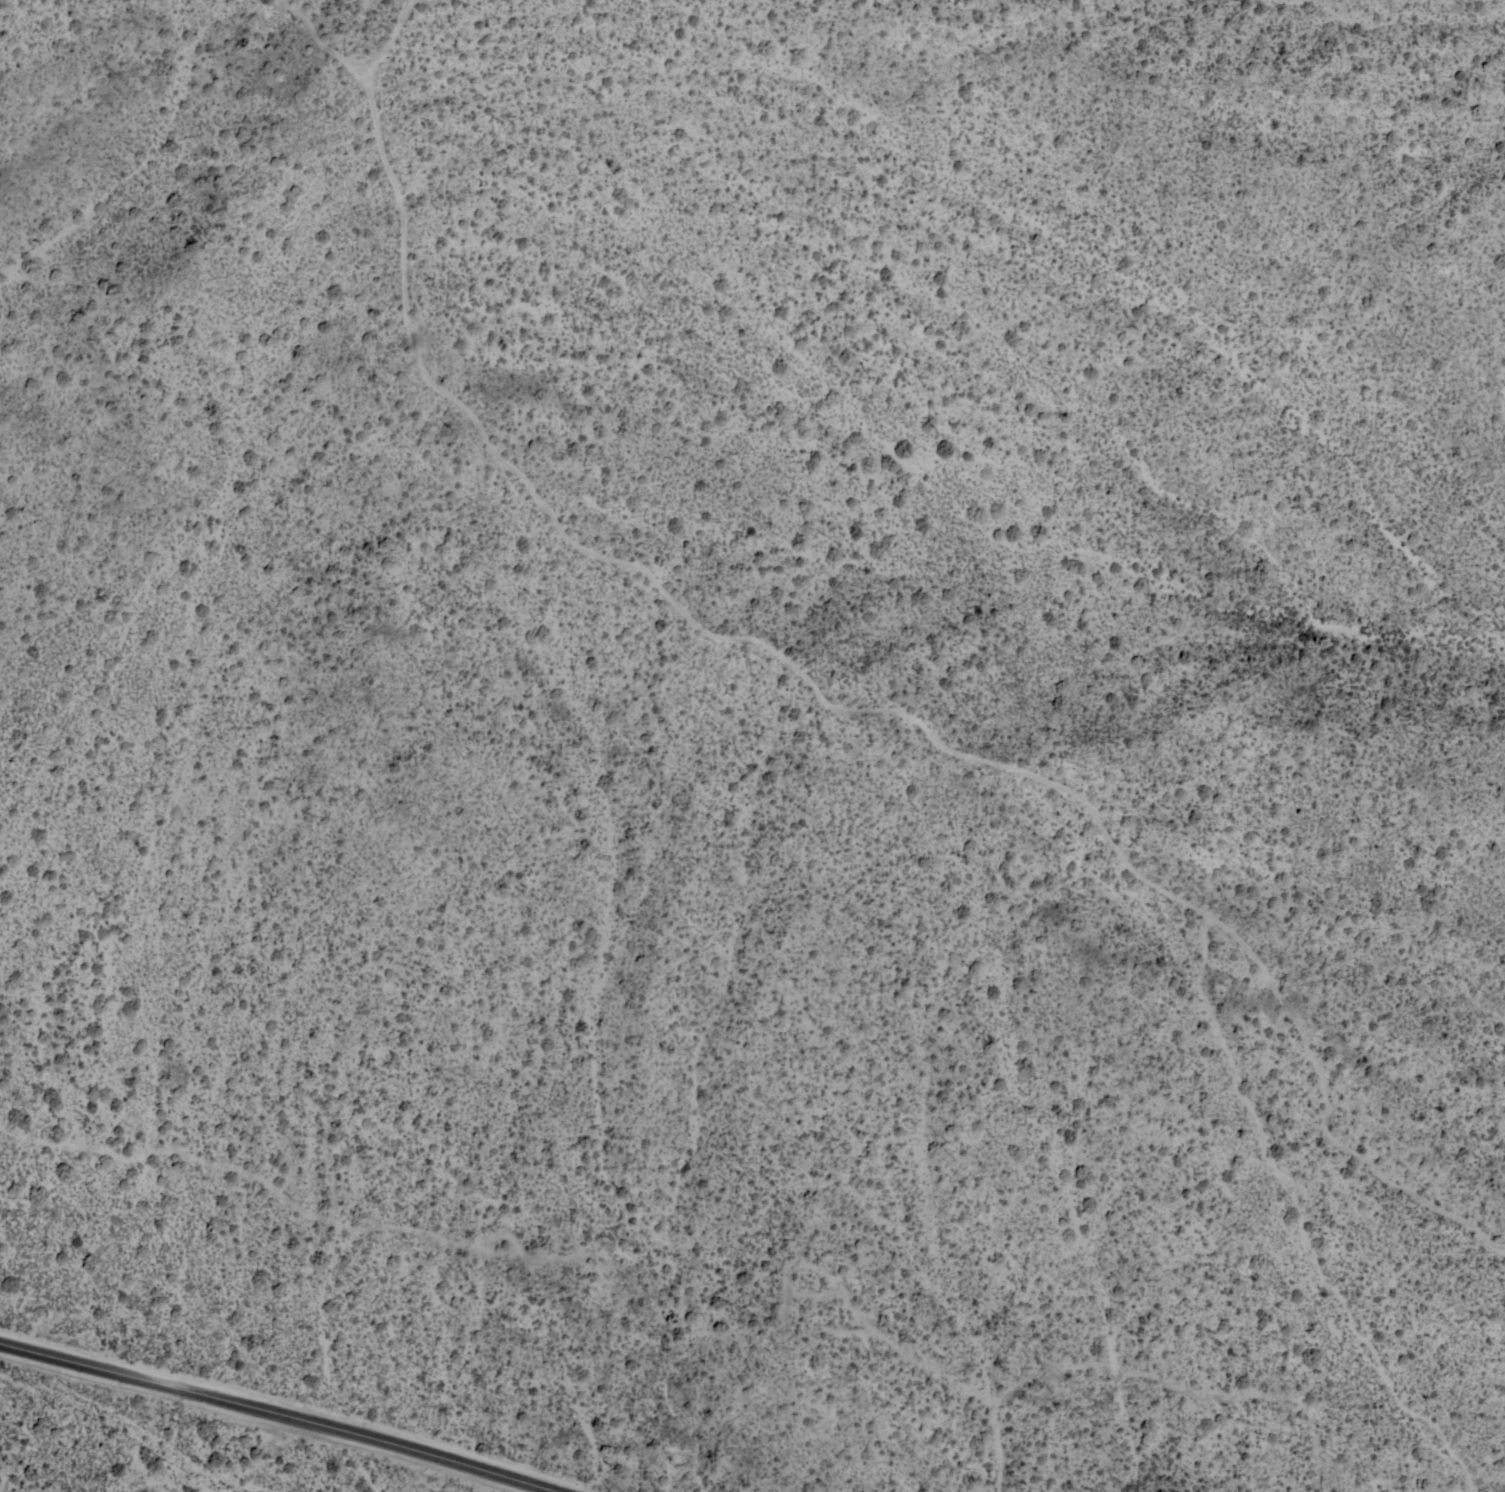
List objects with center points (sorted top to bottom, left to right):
road: (280, 1415)

